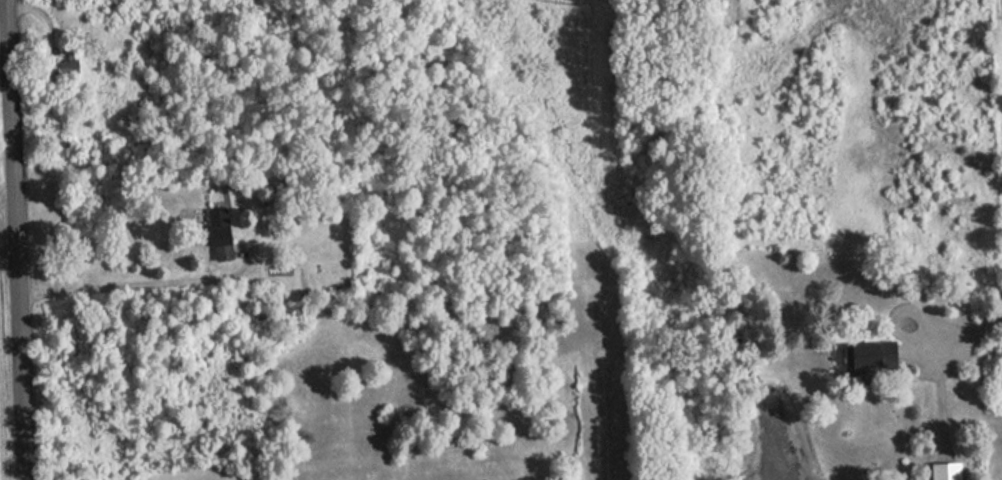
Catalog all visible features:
power tower: (578, 5)
building: (62, 68)
building: (215, 233)
road: (17, 239)
road: (142, 279)
road: (957, 335)
building: (870, 351)

